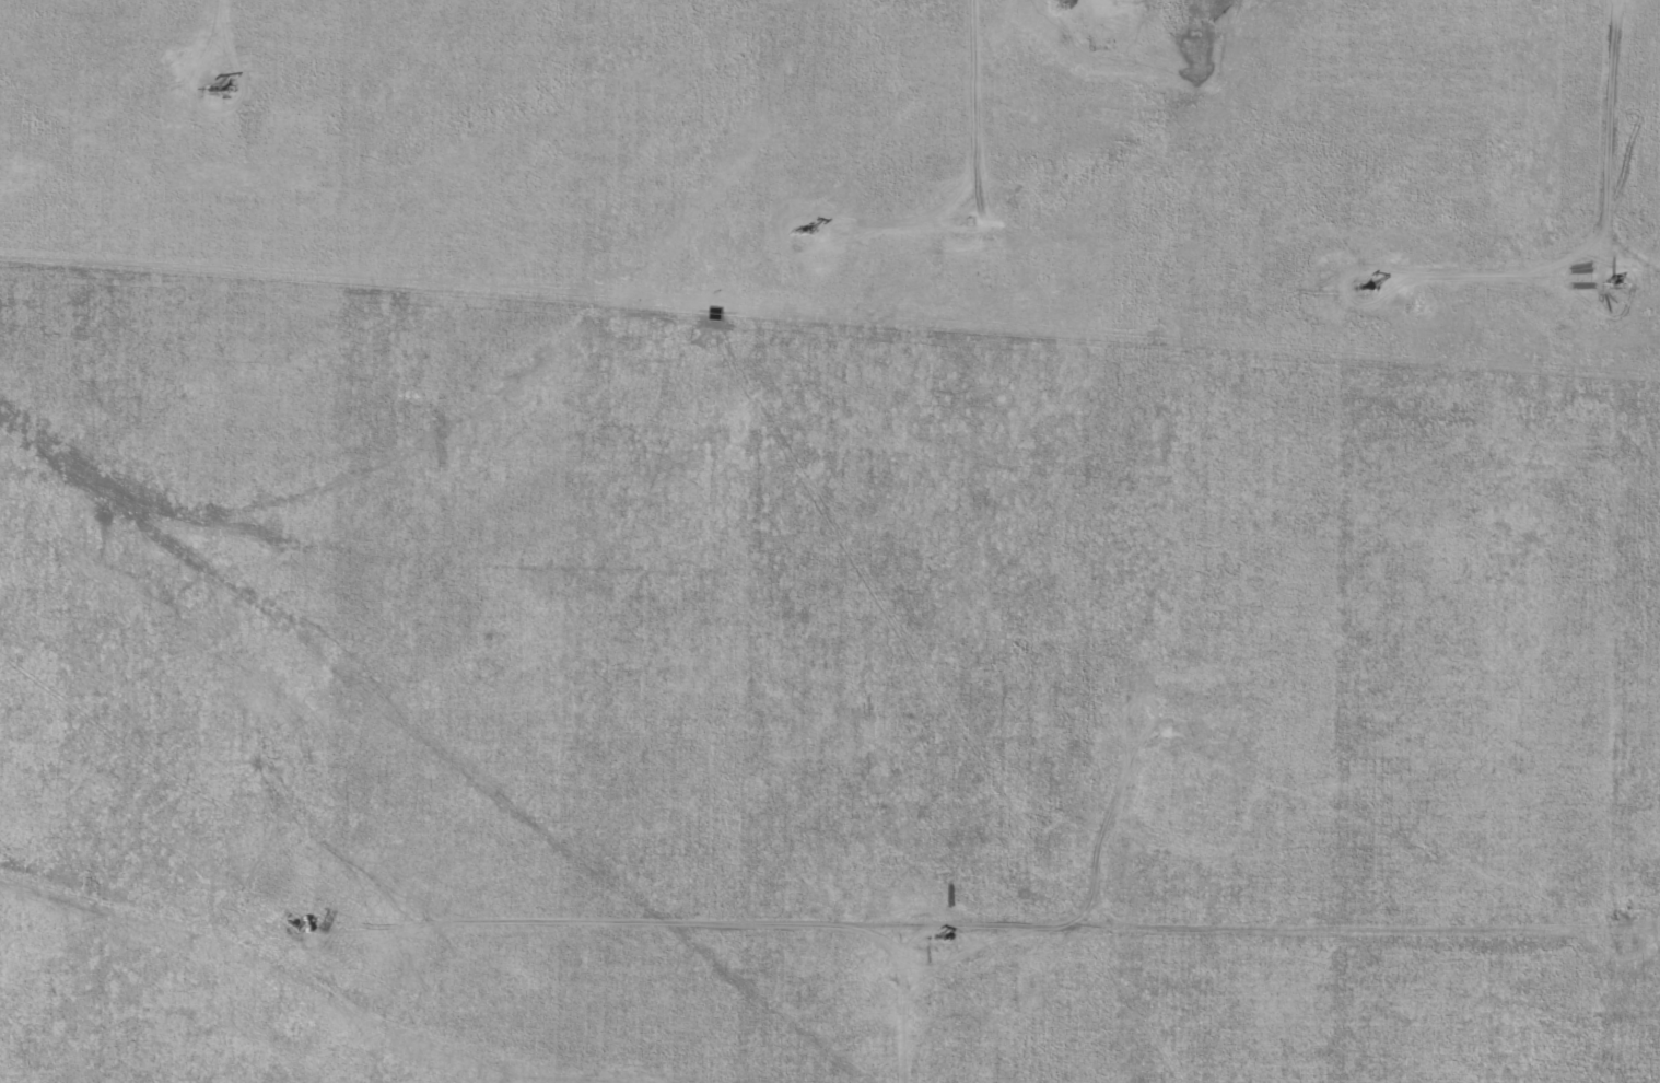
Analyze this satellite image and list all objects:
road: (549, 348)

